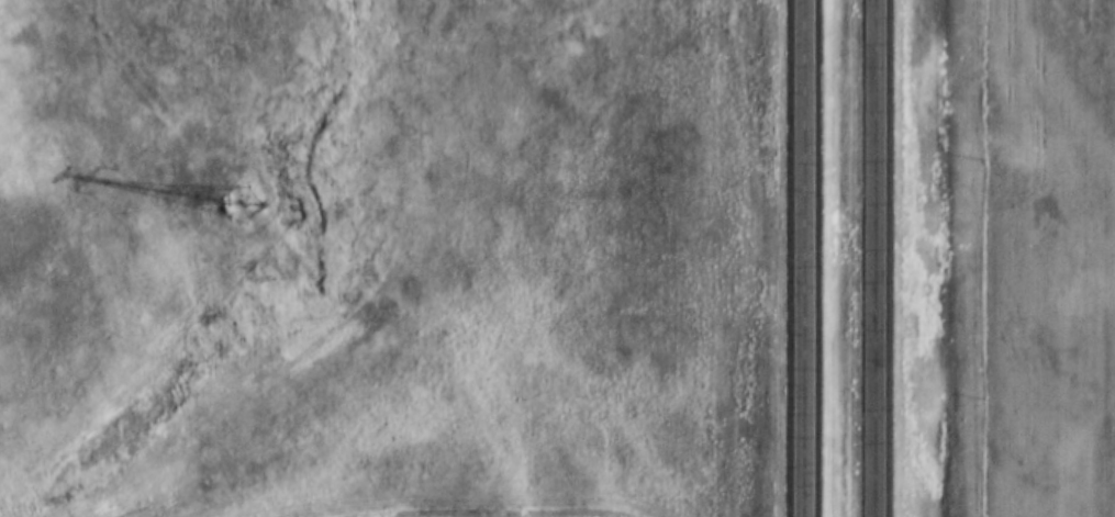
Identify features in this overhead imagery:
power tower: (255, 203)
road: (804, 258)
road: (874, 258)

